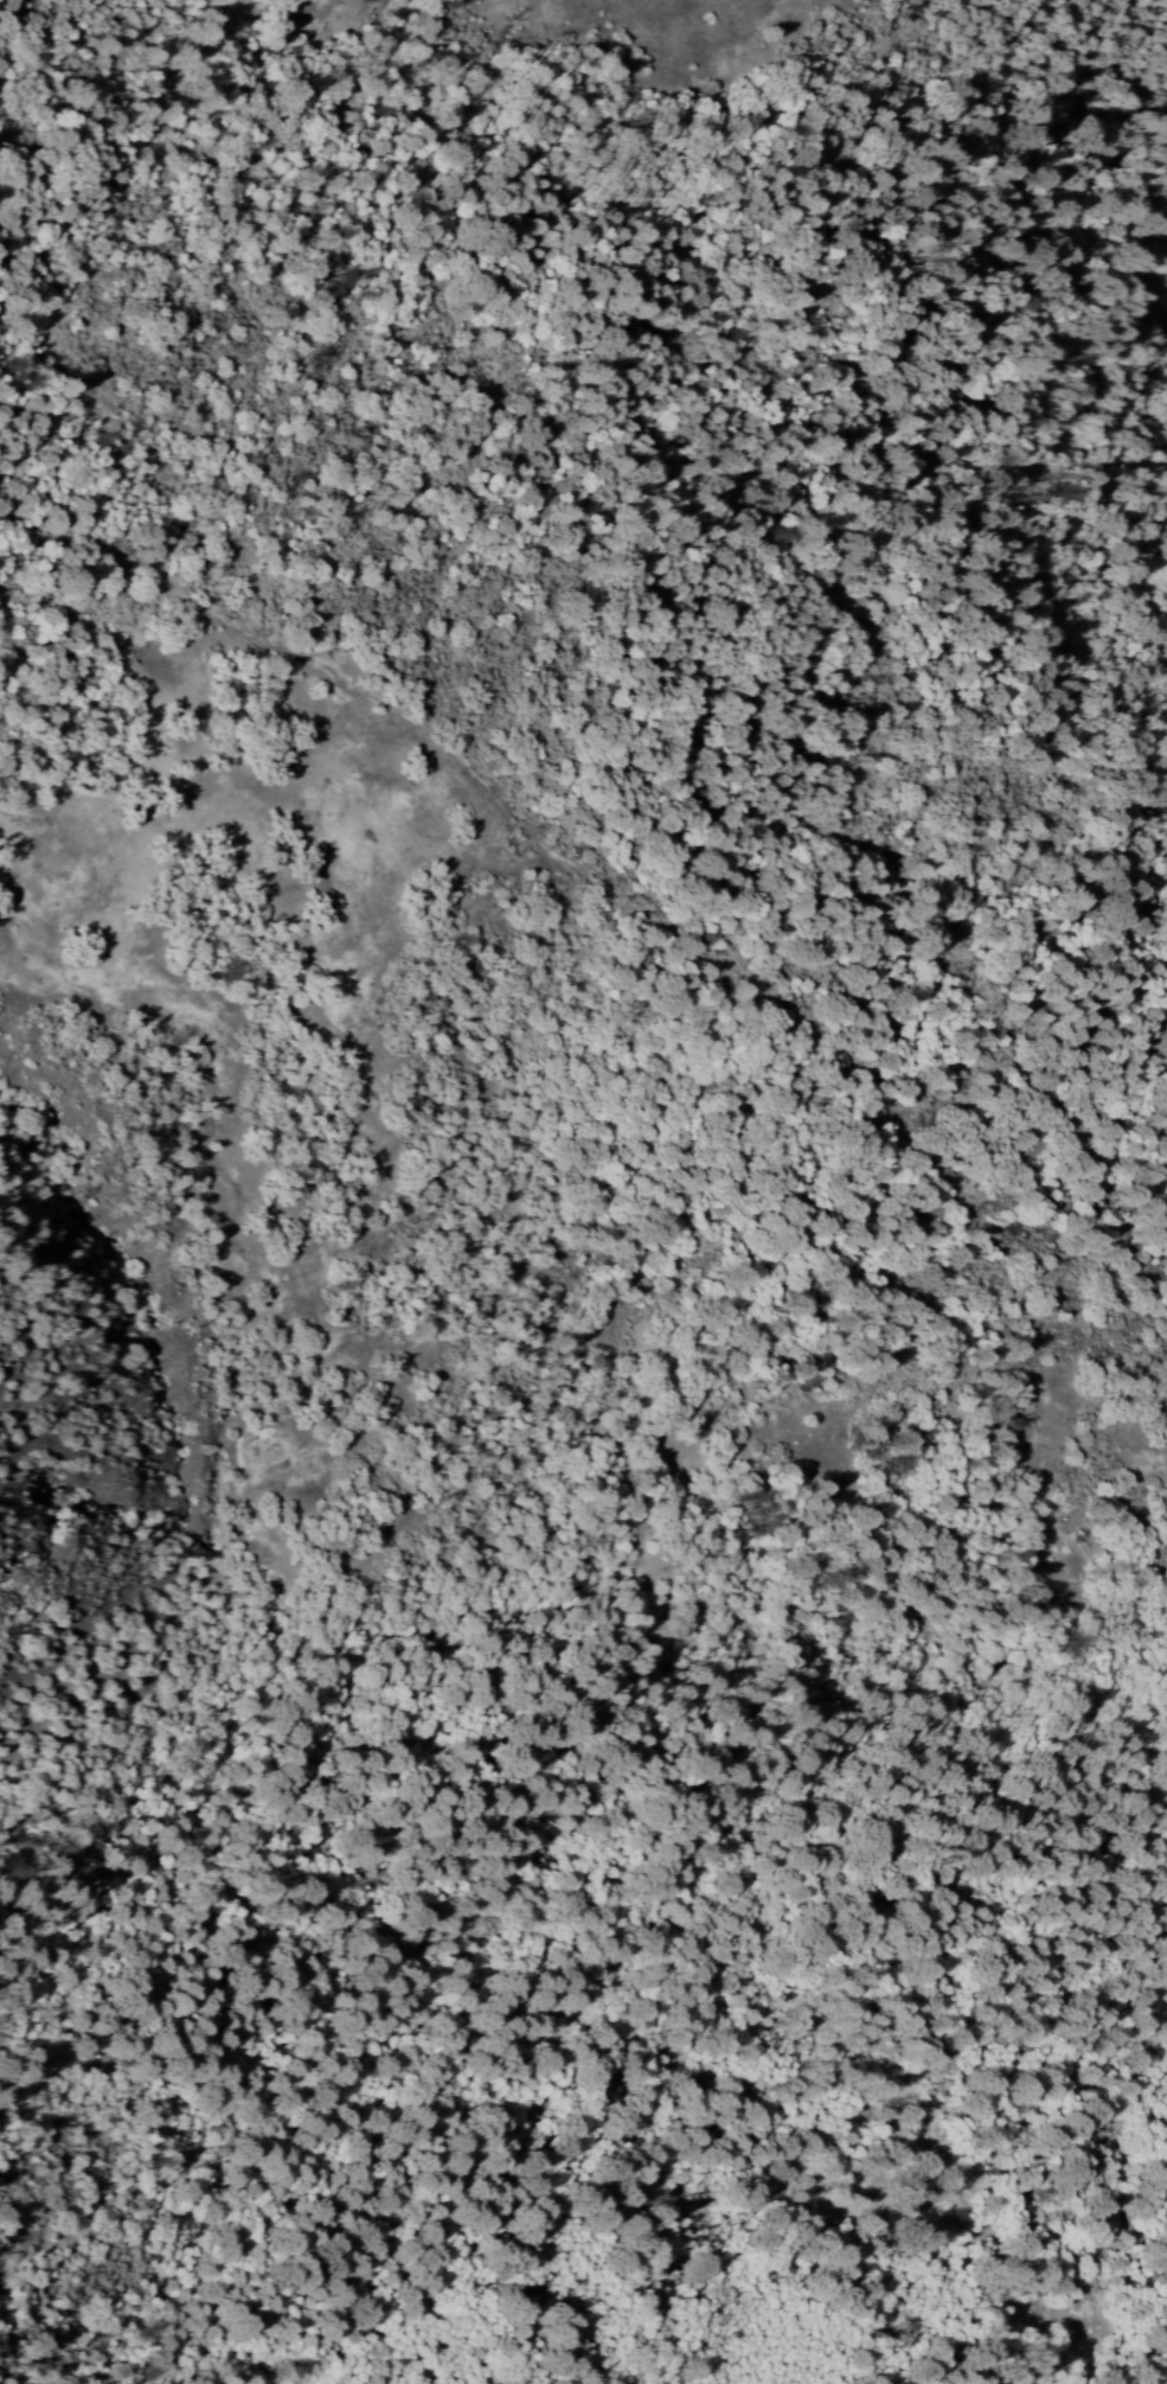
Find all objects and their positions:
road: (605, 887)
road: (831, 2174)

